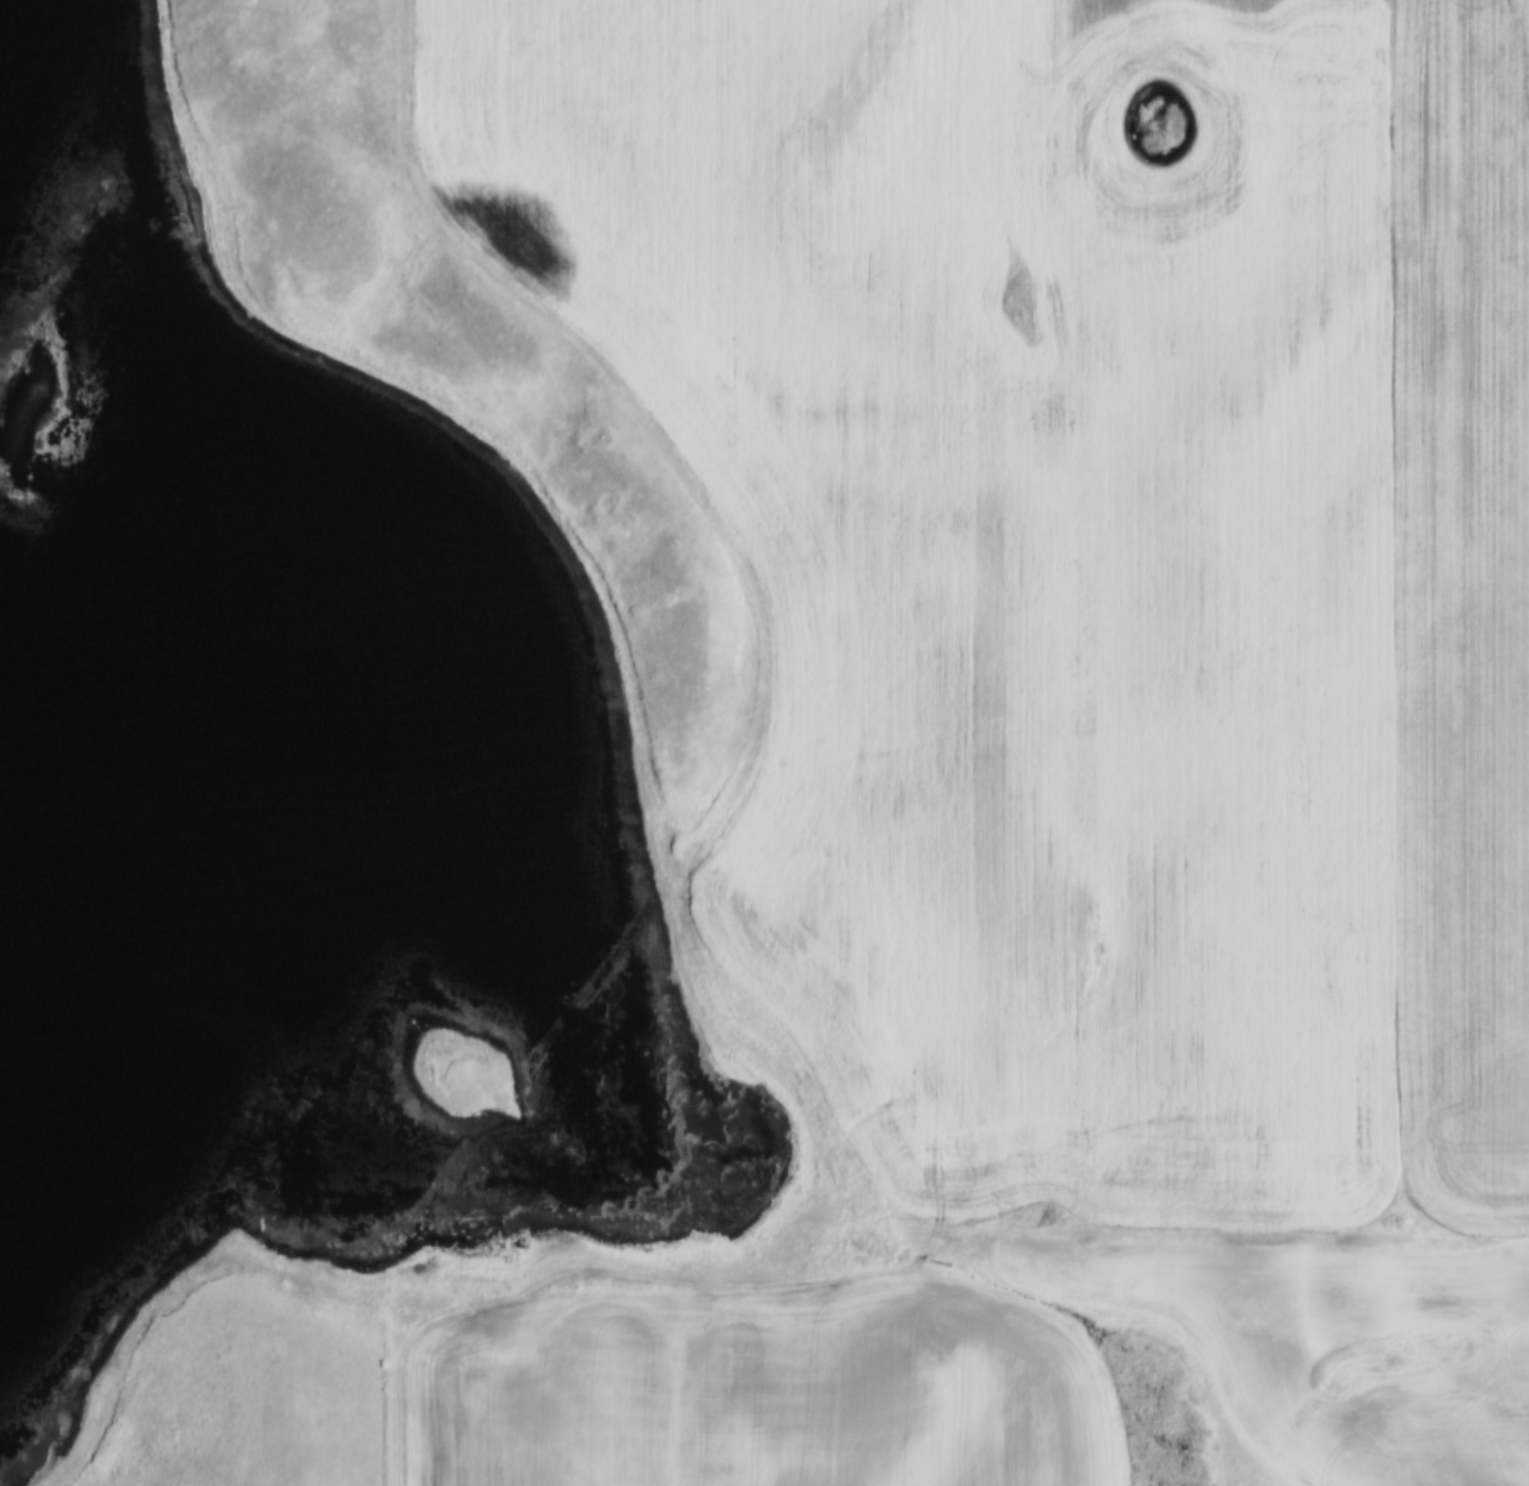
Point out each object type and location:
road: (758, 730)
road: (960, 1230)

